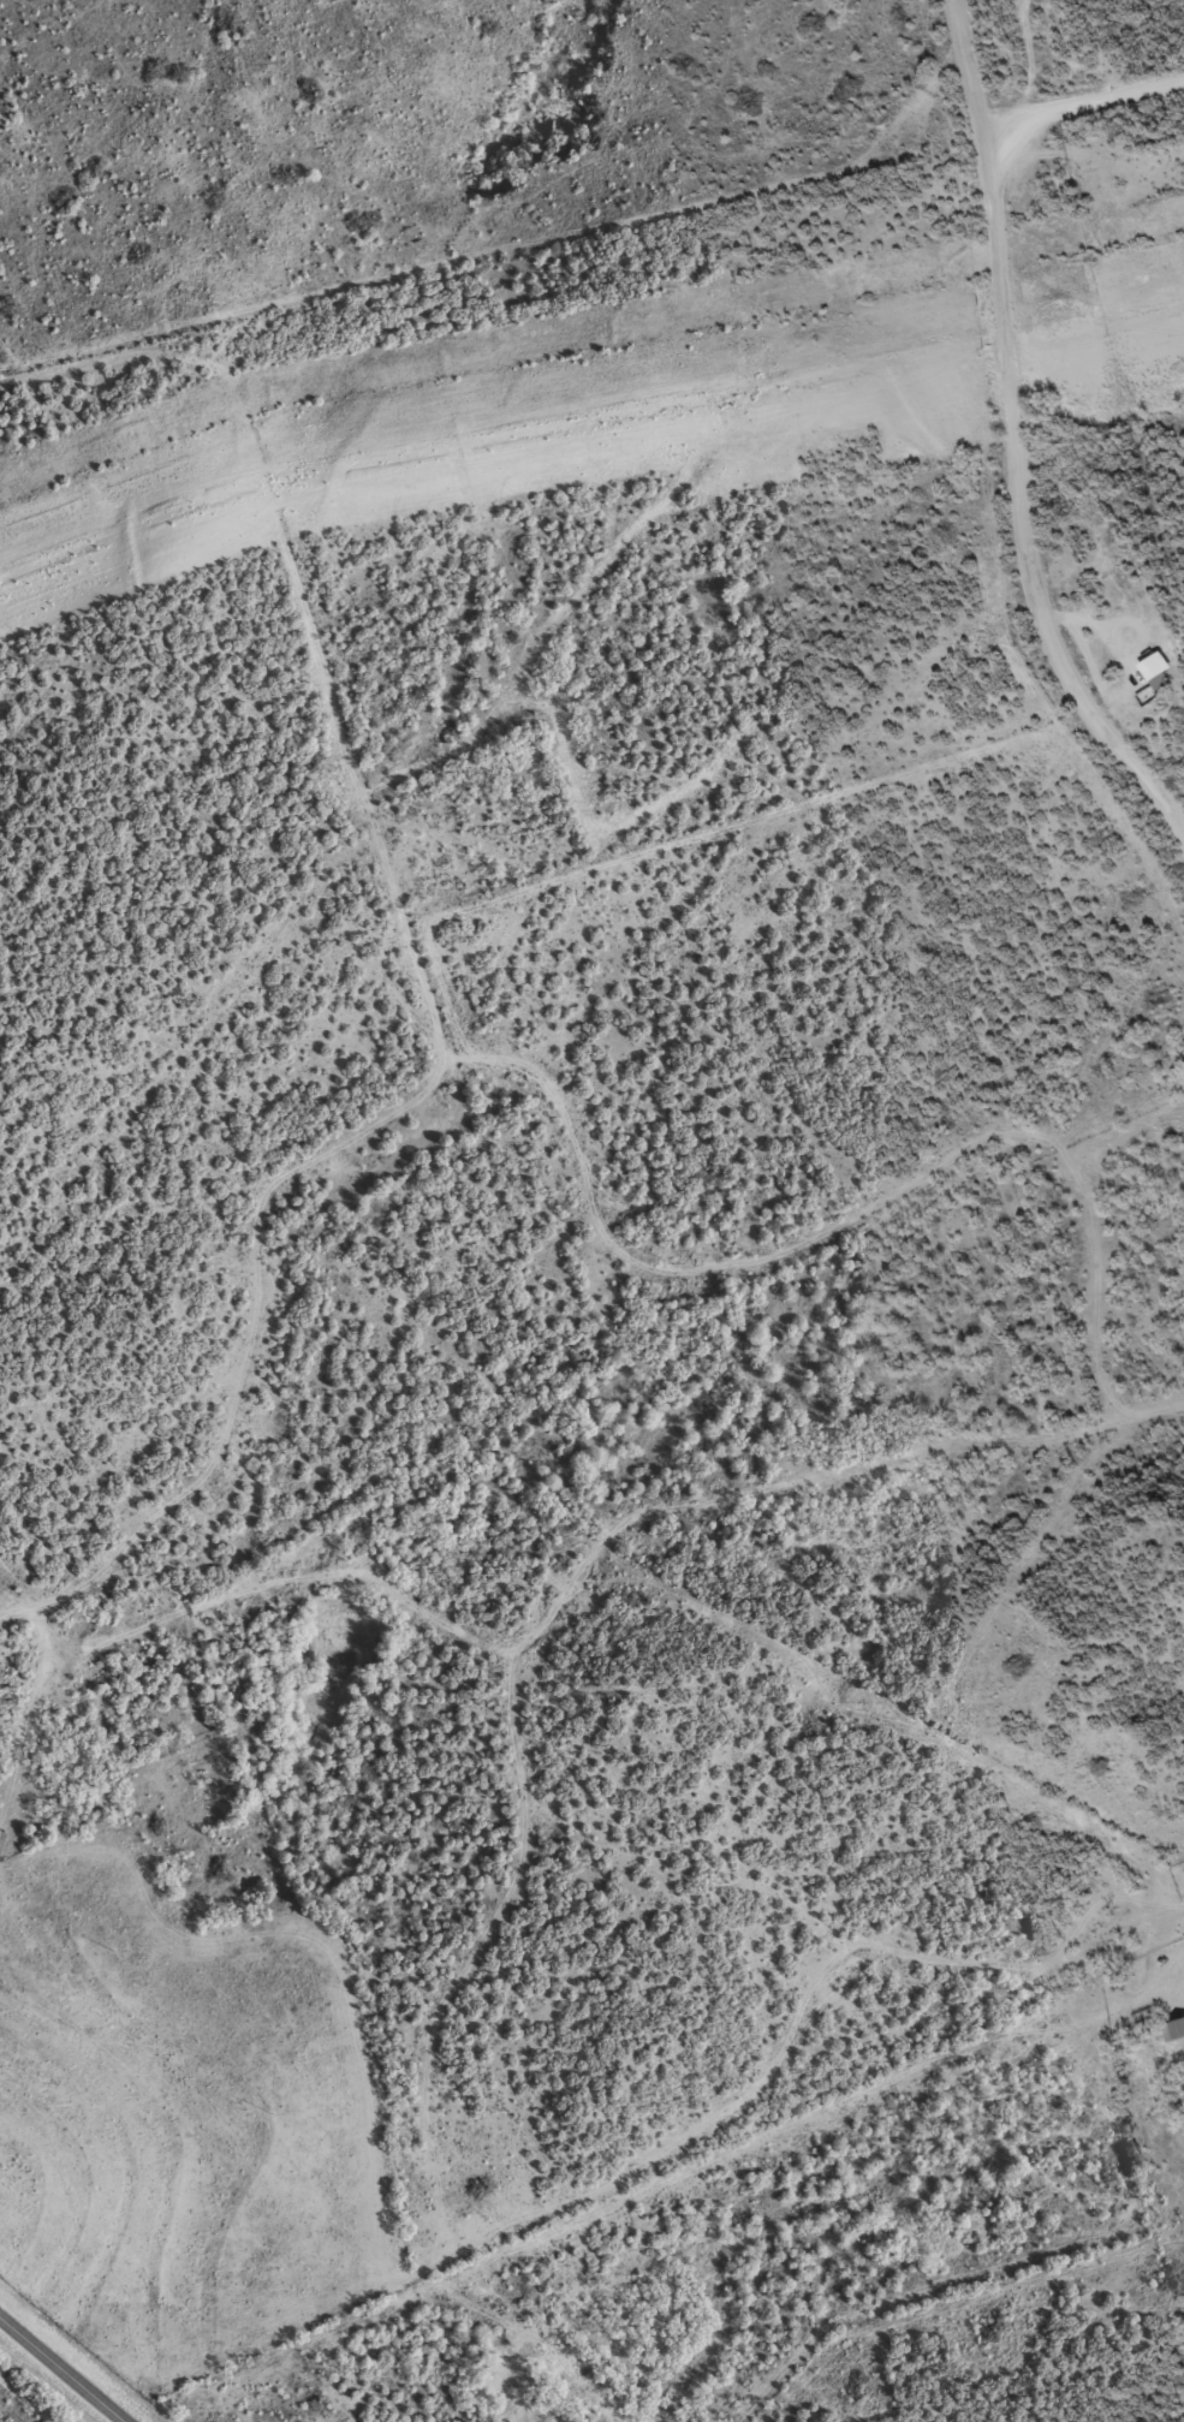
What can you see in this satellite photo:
road: (1078, 111)
road: (1009, 434)
building: (1155, 665)
road: (537, 1085)
building: (1174, 2029)
road: (61, 2370)

